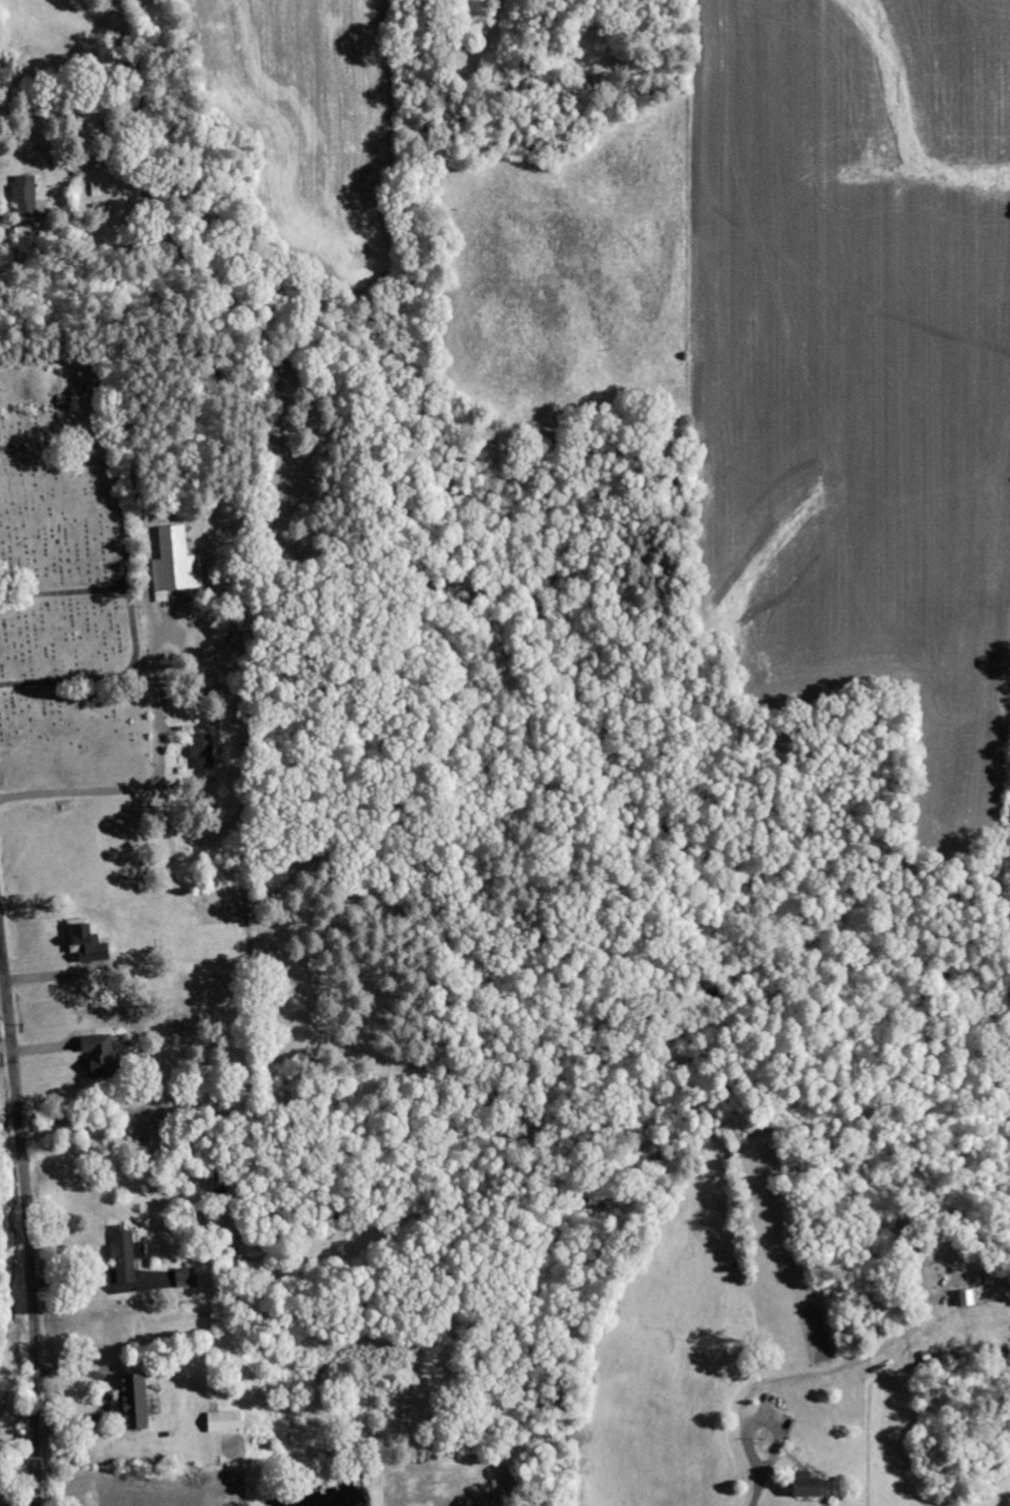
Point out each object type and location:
building: (25, 196)
building: (175, 565)
park: (68, 580)
building: (206, 752)
building: (88, 942)
building: (101, 1056)
road: (27, 1227)
building: (127, 1255)
building: (188, 1278)
building: (971, 1299)
building: (138, 1401)
building: (228, 1422)
building: (813, 1486)

